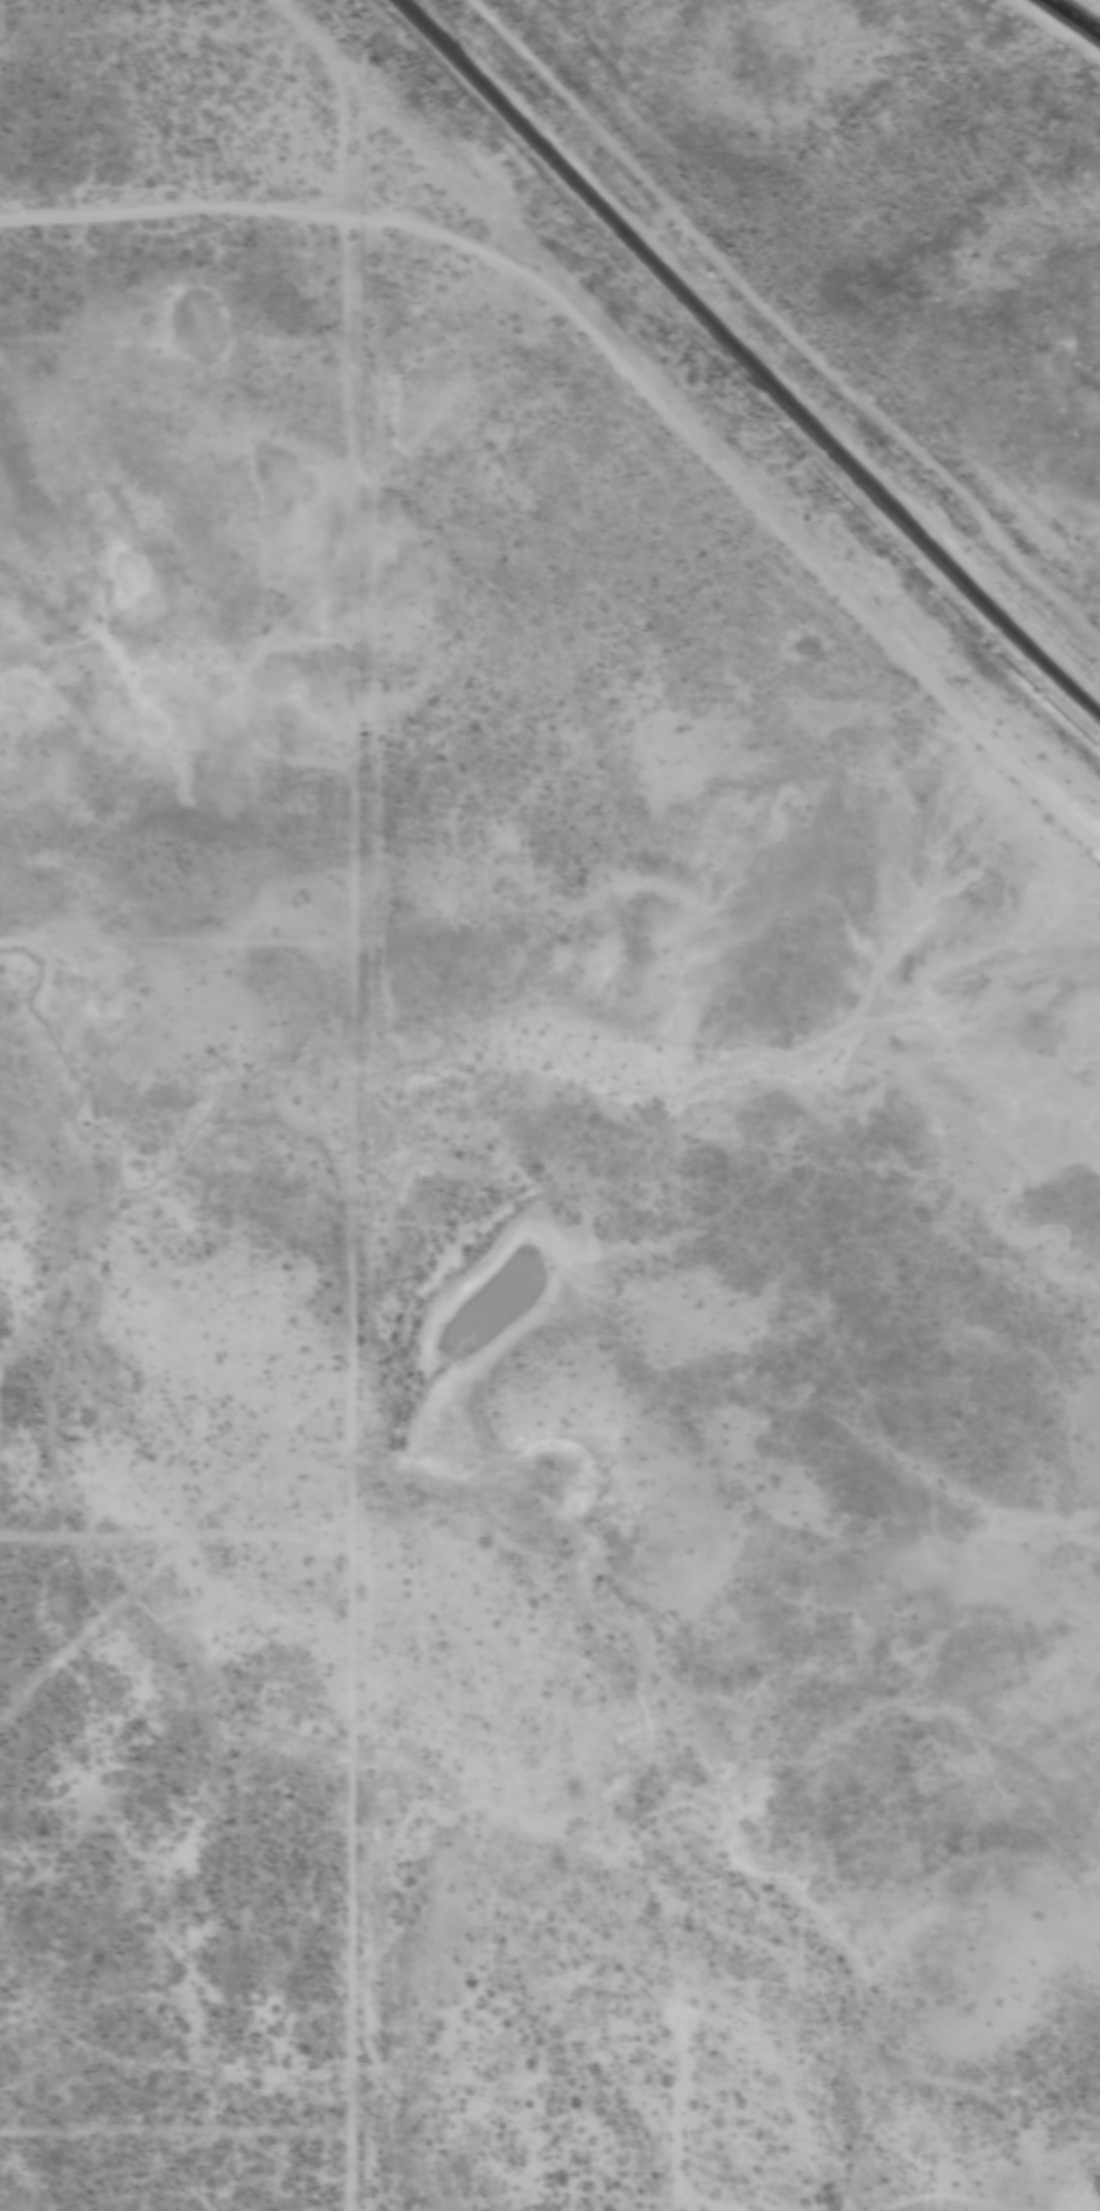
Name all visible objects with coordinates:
road: (1073, 18)
railway: (744, 361)
road: (619, 382)

